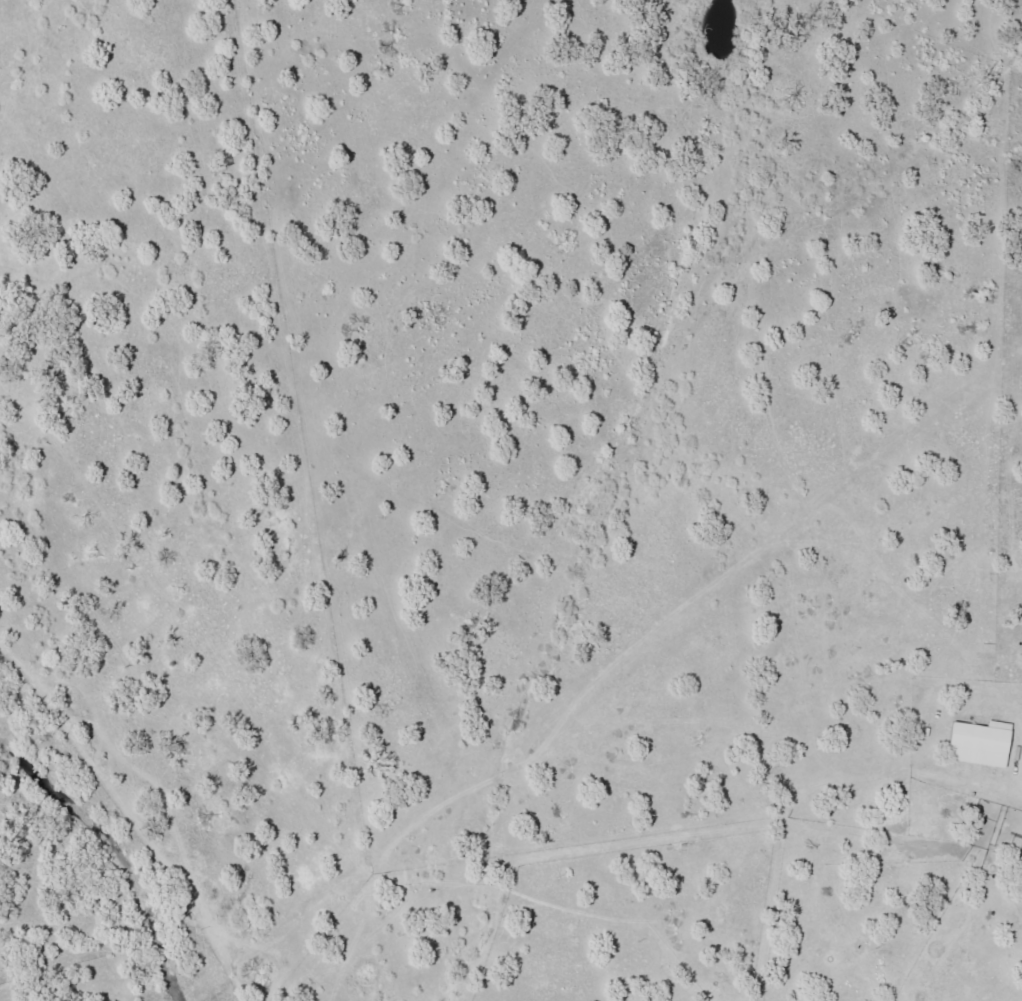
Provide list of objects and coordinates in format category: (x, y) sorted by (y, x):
building: (980, 743)

